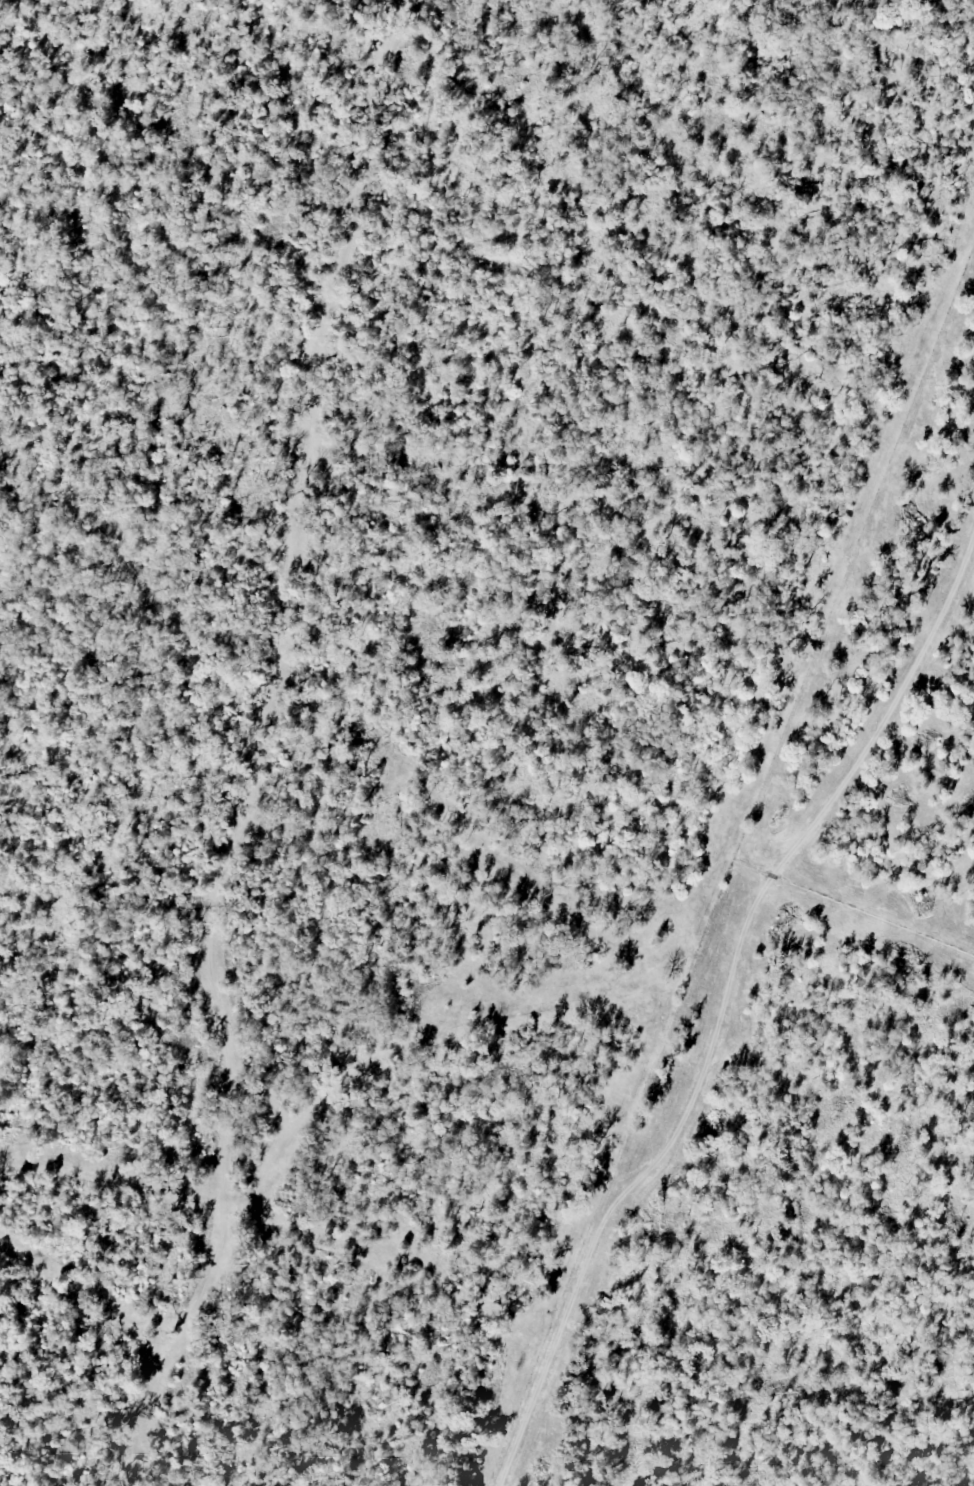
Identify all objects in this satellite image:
road: (854, 737)

